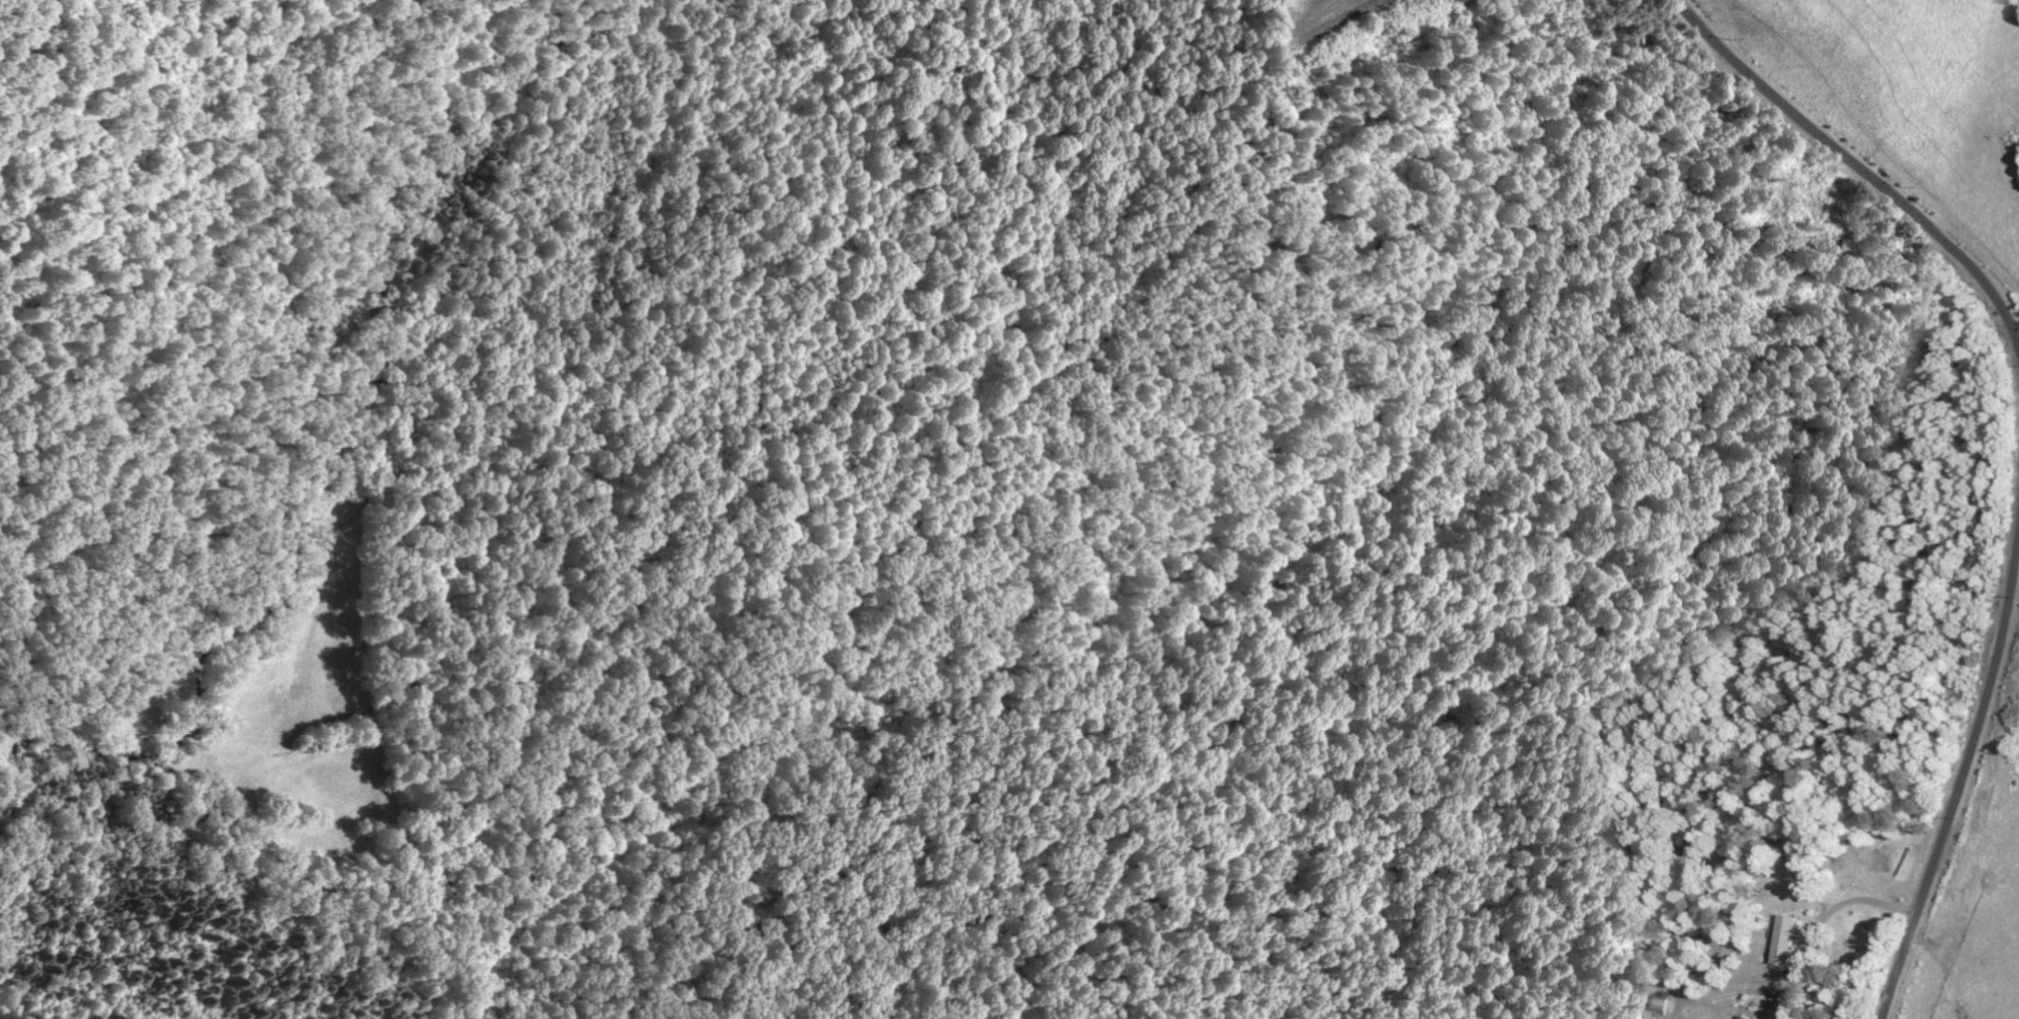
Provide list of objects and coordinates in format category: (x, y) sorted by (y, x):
road: (1853, 163)
road: (1956, 810)
building: (1789, 939)
building: (1664, 1005)
building: (1746, 1017)

